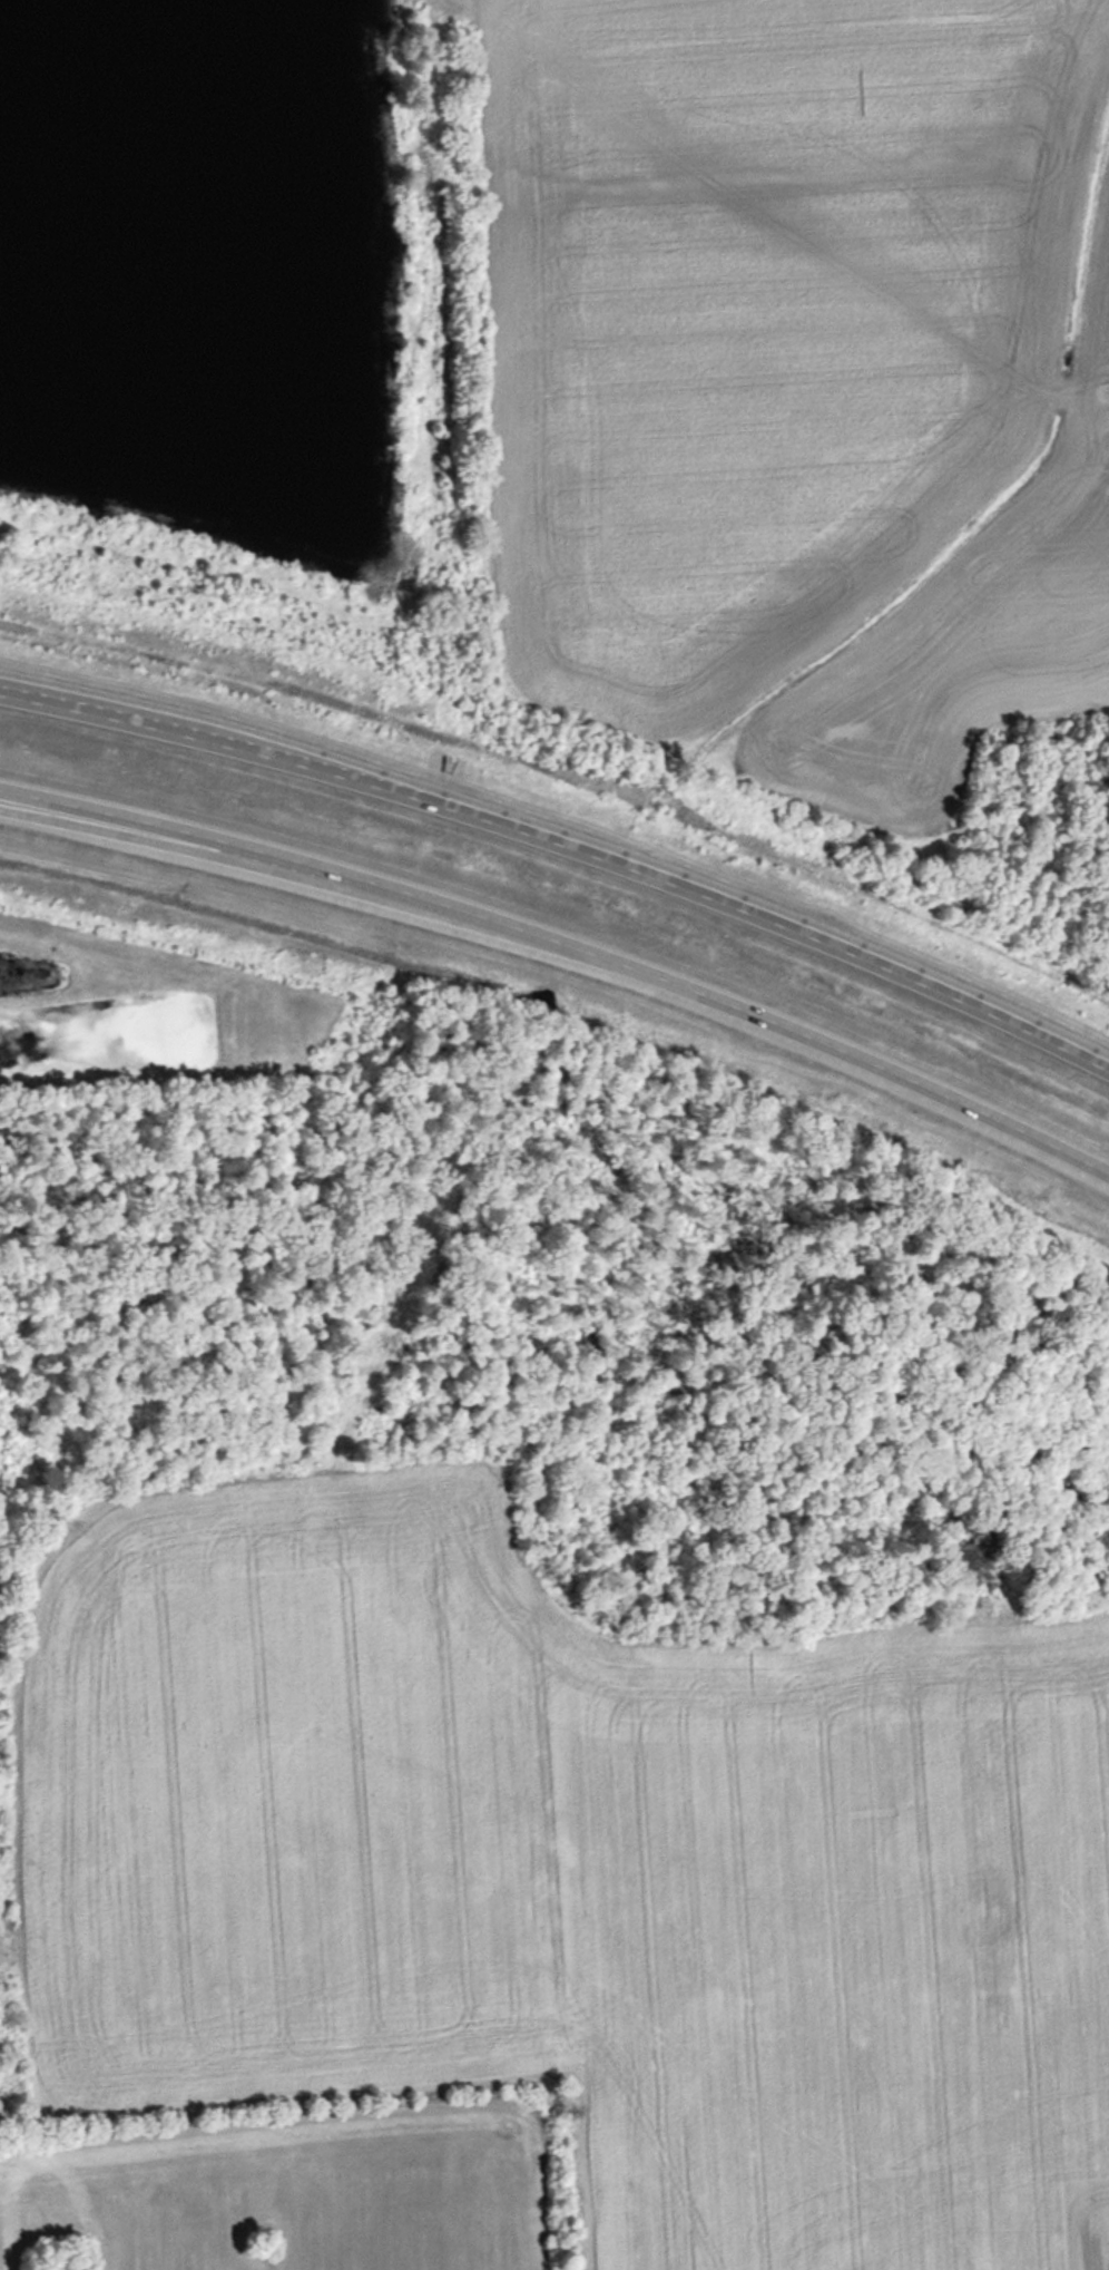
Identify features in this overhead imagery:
road: (88, 816)
road: (566, 850)
road: (568, 946)

